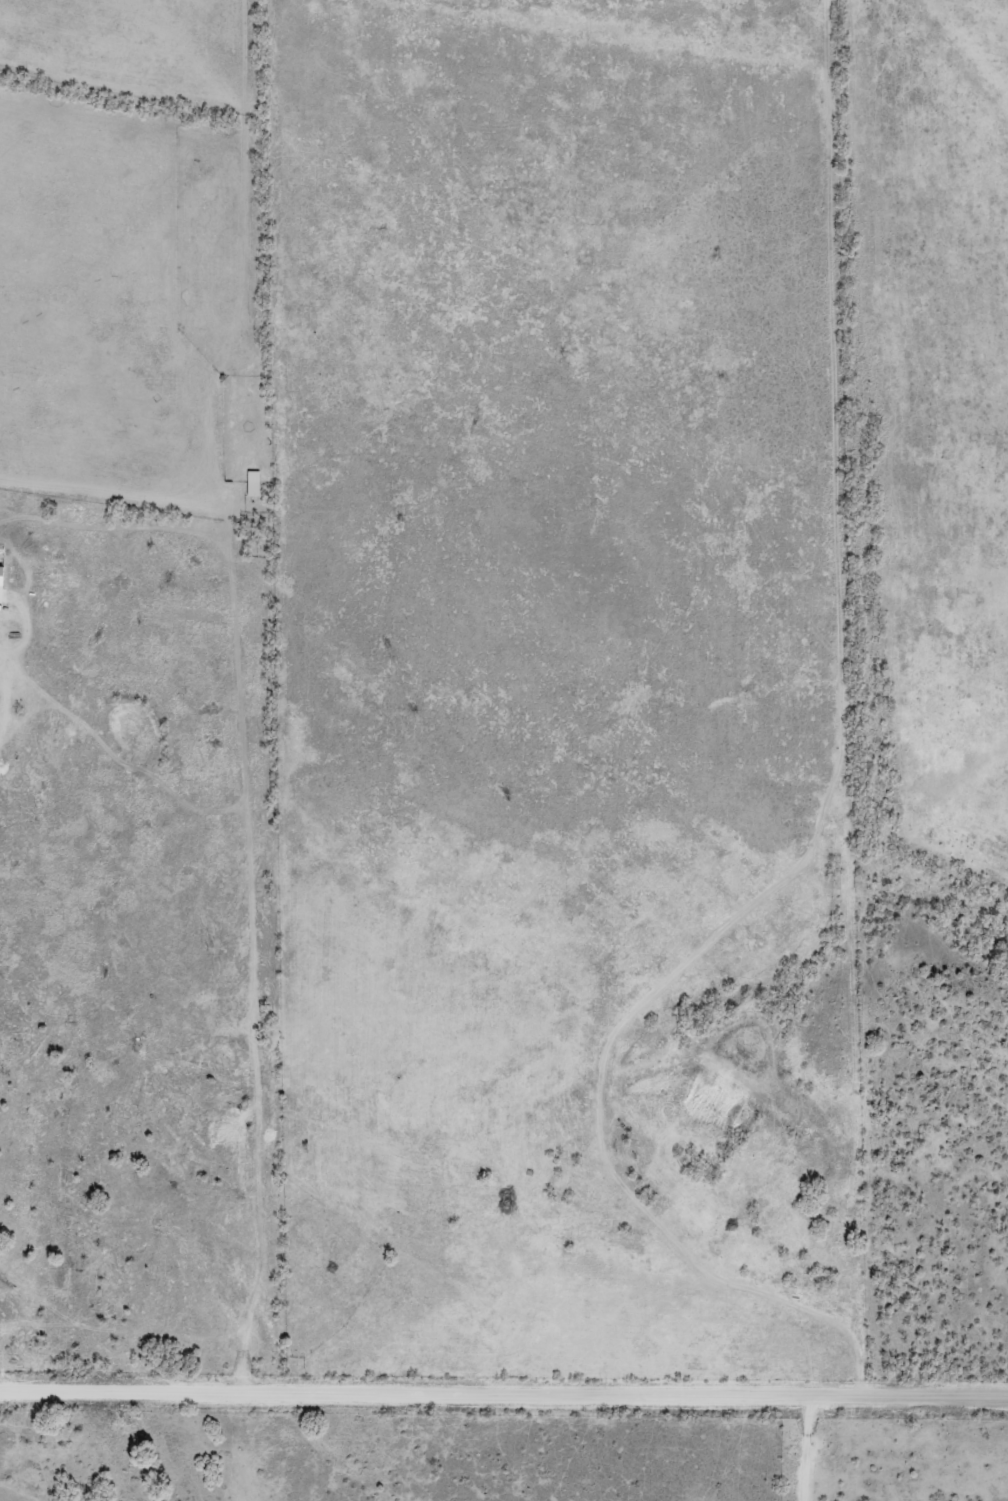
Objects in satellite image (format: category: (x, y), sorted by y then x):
road: (825, 769)
road: (504, 1384)
road: (810, 1446)

